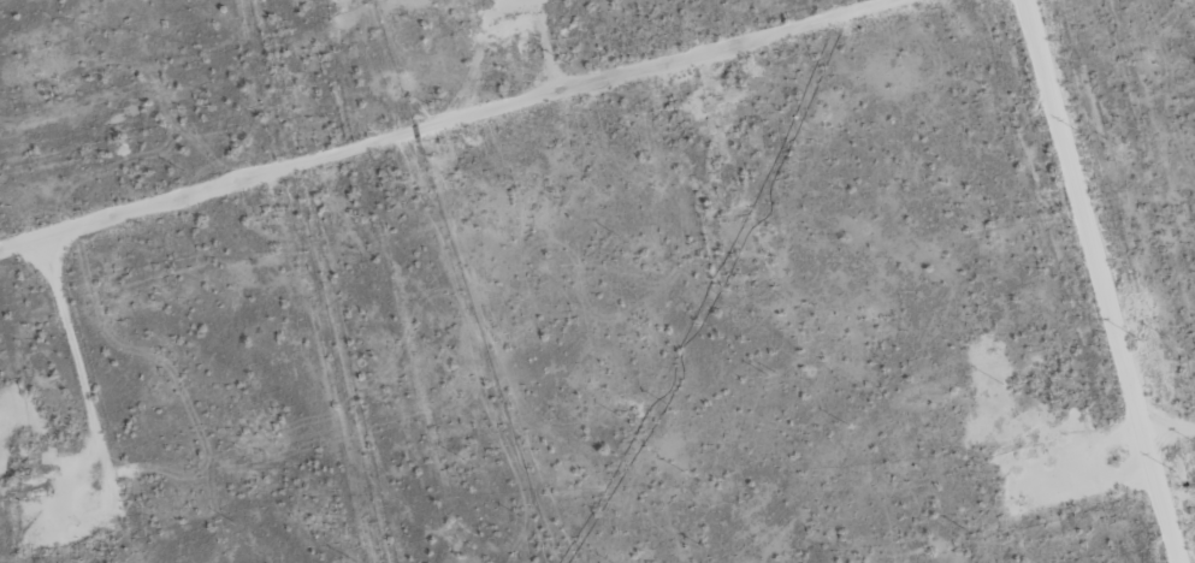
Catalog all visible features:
road: (437, 111)
road: (1117, 225)

